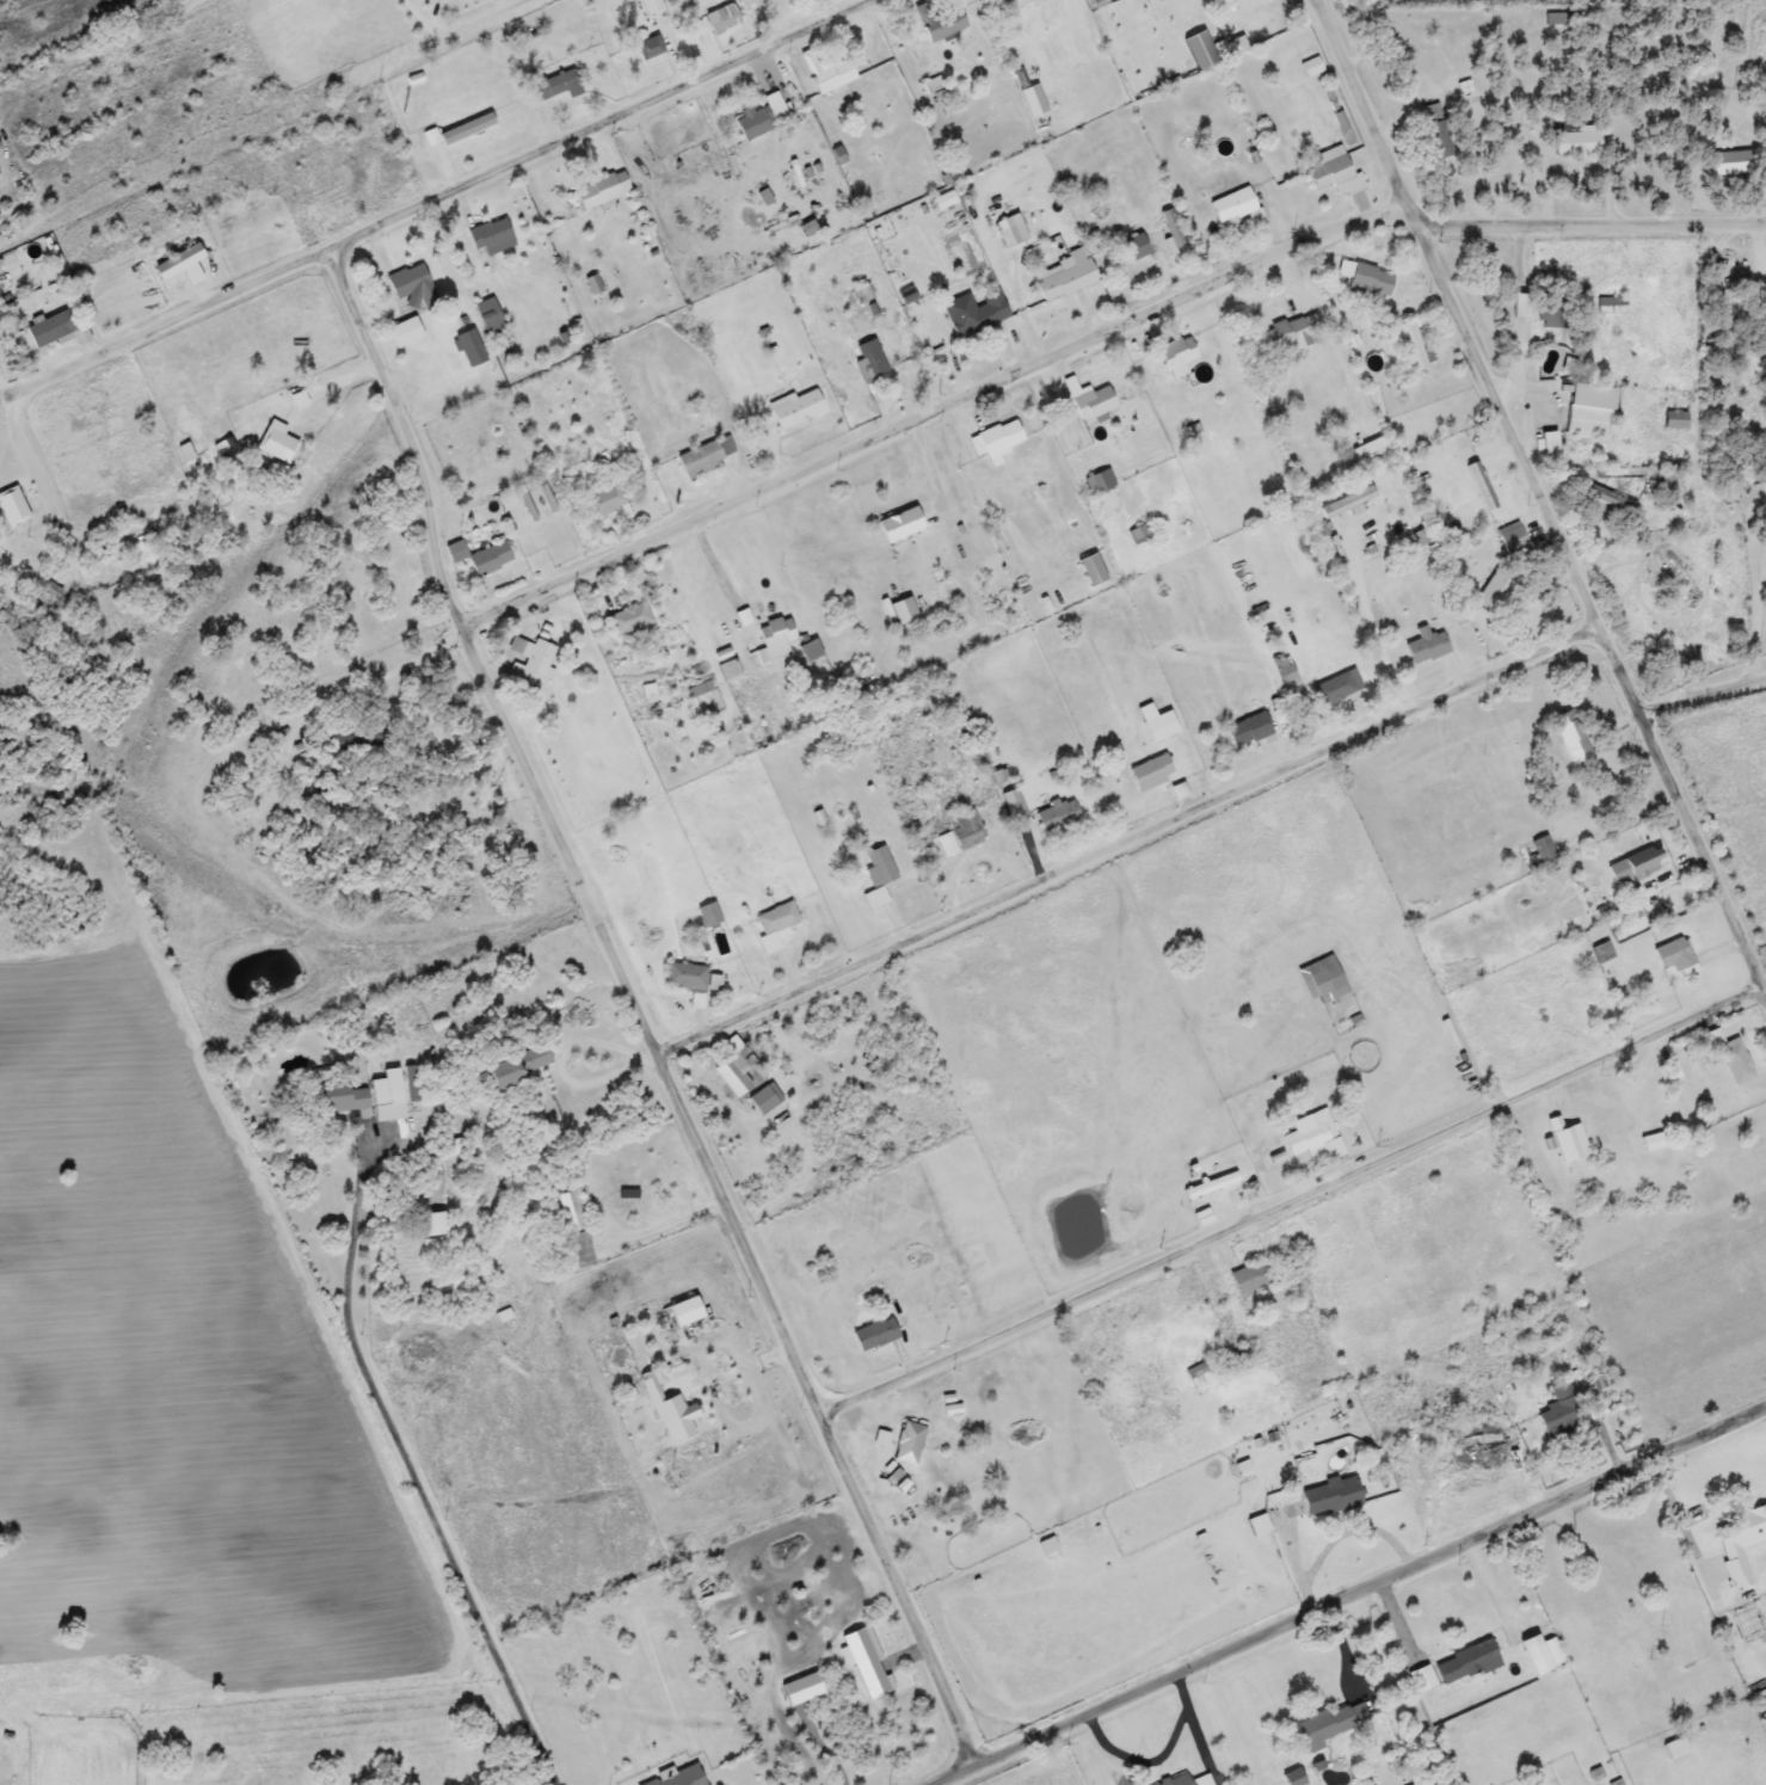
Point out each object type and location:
building: (1019, 2)
building: (650, 6)
building: (1243, 17)
building: (720, 18)
building: (939, 20)
building: (1404, 36)
road: (677, 44)
building: (650, 53)
building: (831, 78)
building: (554, 87)
building: (756, 118)
building: (464, 129)
building: (1574, 141)
building: (1729, 164)
building: (1333, 172)
building: (599, 191)
building: (941, 201)
building: (1230, 205)
road: (1592, 220)
road: (377, 221)
building: (1008, 230)
building: (1170, 232)
building: (491, 236)
building: (1133, 247)
building: (1366, 278)
building: (1064, 279)
building: (411, 284)
building: (1707, 285)
building: (1518, 306)
building: (1764, 309)
building: (1550, 310)
building: (973, 314)
building: (487, 316)
building: (404, 332)
building: (1292, 332)
building: (1410, 344)
building: (1176, 356)
building: (868, 359)
building: (1089, 400)
road: (933, 405)
building: (794, 408)
building: (1587, 412)
building: (1674, 420)
building: (995, 441)
building: (276, 443)
building: (1549, 450)
building: (1368, 454)
building: (704, 456)
building: (1662, 480)
building: (1099, 482)
road: (1540, 494)
building: (603, 500)
building: (1346, 503)
building: (11, 507)
building: (898, 525)
building: (1138, 534)
road: (1750, 538)
building: (1512, 540)
building: (479, 556)
building: (1090, 571)
road: (1764, 578)
building: (1491, 591)
road: (731, 609)
building: (627, 620)
road: (1756, 633)
building: (774, 640)
building: (1425, 646)
building: (808, 652)
building: (529, 661)
road: (380, 671)
building: (728, 671)
building: (1336, 689)
building: (697, 690)
road: (1702, 690)
building: (1156, 724)
building: (1247, 731)
building: (1573, 739)
building: (1149, 774)
building: (1013, 804)
building: (1056, 814)
road: (1622, 820)
building: (966, 830)
road: (1128, 837)
building: (1542, 849)
road: (1035, 854)
building: (1631, 866)
building: (878, 876)
building: (708, 913)
road: (900, 923)
building: (774, 925)
building: (1672, 955)
building: (684, 977)
building: (1324, 979)
road: (638, 1008)
road: (611, 1054)
building: (1730, 1057)
building: (515, 1066)
building: (736, 1072)
building: (1675, 1072)
building: (413, 1084)
building: (383, 1091)
building: (337, 1097)
building: (764, 1098)
building: (1312, 1135)
building: (1567, 1140)
building: (1651, 1141)
building: (1210, 1186)
road: (1291, 1198)
road: (662, 1223)
building: (574, 1229)
building: (414, 1254)
building: (1251, 1278)
building: (683, 1311)
building: (873, 1335)
building: (667, 1410)
building: (1557, 1411)
building: (1484, 1442)
building: (907, 1444)
road: (410, 1466)
building: (888, 1473)
building: (1329, 1496)
building: (1256, 1524)
building: (1739, 1540)
road: (1493, 1582)
road: (1349, 1594)
building: (1532, 1654)
building: (1465, 1663)
road: (1395, 1688)
road: (1236, 1721)
building: (1331, 1724)
building: (1674, 1747)
building: (679, 1777)

